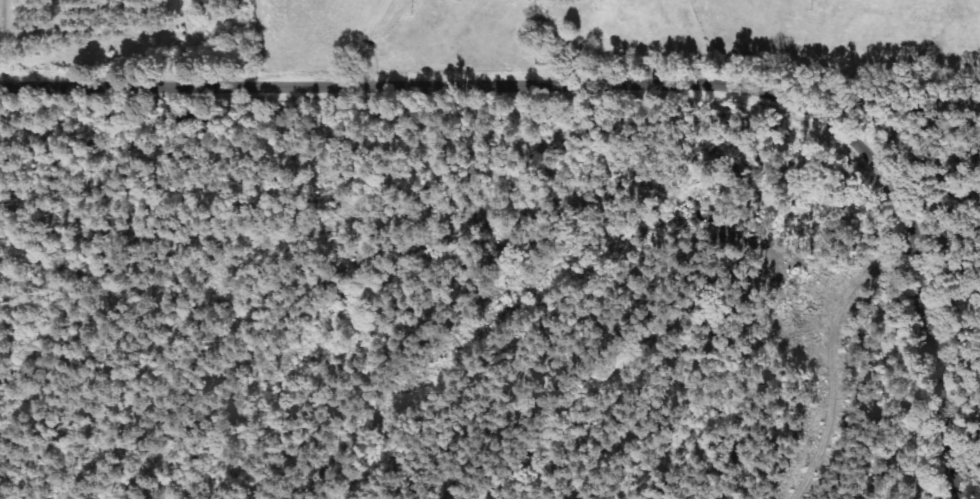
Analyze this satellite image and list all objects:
road: (6, 44)
road: (625, 84)

